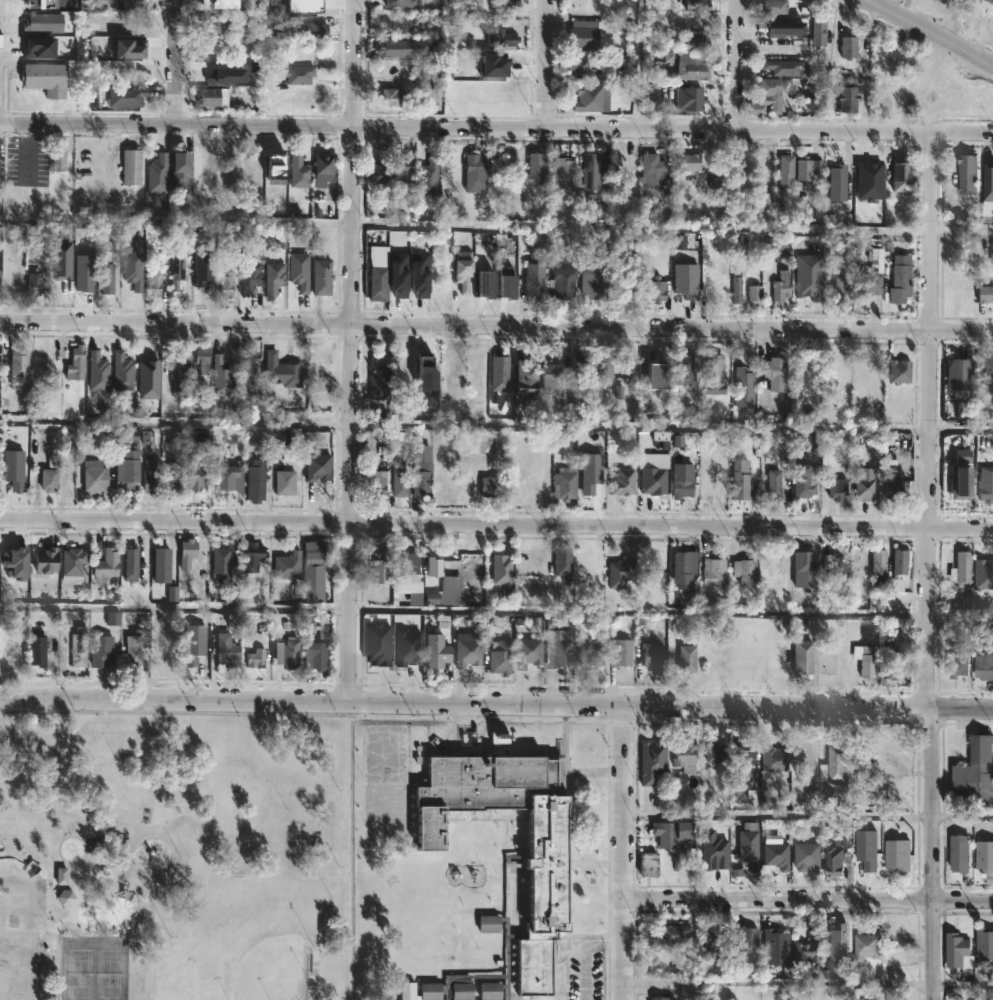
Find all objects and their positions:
building: (401, 2)
building: (48, 3)
building: (222, 3)
building: (132, 4)
building: (503, 4)
building: (699, 5)
building: (989, 5)
building: (308, 6)
building: (772, 7)
building: (47, 20)
building: (221, 24)
building: (785, 29)
road: (932, 30)
building: (319, 31)
building: (817, 33)
building: (586, 34)
building: (502, 38)
building: (697, 44)
building: (43, 45)
building: (848, 46)
building: (134, 48)
building: (398, 48)
building: (219, 53)
road: (178, 62)
building: (497, 63)
building: (585, 63)
road: (544, 64)
road: (737, 65)
building: (695, 66)
building: (784, 67)
building: (299, 74)
building: (438, 74)
building: (213, 77)
building: (44, 78)
building: (774, 91)
building: (129, 96)
building: (213, 96)
building: (394, 96)
building: (591, 98)
building: (694, 98)
building: (847, 98)
road: (496, 128)
building: (61, 160)
building: (690, 162)
building: (281, 164)
building: (625, 164)
building: (1, 166)
building: (134, 166)
building: (801, 167)
building: (405, 168)
building: (537, 168)
building: (183, 170)
building: (324, 170)
building: (593, 170)
building: (657, 170)
building: (301, 171)
building: (566, 171)
building: (784, 171)
building: (159, 172)
building: (478, 173)
building: (965, 173)
building: (381, 174)
building: (899, 174)
building: (868, 177)
building: (428, 179)
building: (835, 182)
building: (987, 188)
building: (382, 239)
building: (64, 257)
building: (2, 266)
building: (178, 267)
building: (135, 268)
building: (205, 268)
building: (300, 269)
building: (466, 269)
building: (87, 271)
building: (402, 274)
building: (424, 274)
building: (869, 274)
building: (324, 276)
building: (807, 276)
building: (253, 277)
building: (109, 278)
building: (277, 278)
building: (687, 278)
building: (898, 278)
building: (157, 280)
building: (534, 280)
building: (228, 282)
building: (565, 282)
building: (596, 283)
building: (37, 284)
building: (381, 284)
building: (489, 284)
building: (510, 285)
building: (735, 285)
building: (781, 288)
building: (659, 289)
building: (841, 291)
building: (984, 294)
building: (755, 295)
road: (496, 326)
road: (352, 351)
building: (199, 361)
building: (77, 362)
building: (175, 362)
building: (605, 365)
building: (19, 367)
building: (682, 368)
building: (984, 368)
building: (282, 369)
building: (580, 369)
building: (800, 370)
building: (898, 371)
building: (125, 372)
building: (427, 372)
building: (498, 372)
building: (101, 373)
building: (776, 373)
building: (957, 373)
building: (712, 374)
building: (221, 375)
building: (530, 377)
building: (554, 378)
building: (152, 379)
building: (378, 379)
building: (746, 384)
road: (176, 420)
building: (316, 438)
building: (812, 439)
building: (281, 443)
building: (470, 445)
building: (92, 459)
building: (318, 466)
building: (137, 469)
building: (593, 470)
building: (16, 473)
building: (195, 473)
building: (963, 473)
building: (171, 476)
building: (228, 476)
building: (49, 478)
building: (421, 478)
building: (738, 479)
building: (257, 480)
building: (680, 480)
building: (808, 481)
building: (282, 482)
building: (402, 482)
building: (625, 482)
building: (655, 482)
building: (379, 484)
building: (567, 484)
building: (867, 484)
building: (985, 484)
building: (773, 485)
building: (494, 487)
road: (110, 488)
building: (840, 488)
building: (710, 489)
building: (896, 489)
road: (122, 494)
road: (110, 512)
road: (123, 513)
road: (496, 525)
building: (253, 555)
building: (1, 558)
building: (590, 559)
building: (856, 559)
building: (19, 560)
building: (48, 561)
building: (876, 561)
building: (76, 562)
building: (164, 562)
building: (110, 563)
building: (223, 563)
building: (561, 563)
building: (133, 564)
building: (981, 564)
building: (290, 565)
building: (833, 565)
building: (683, 566)
road: (929, 566)
building: (436, 567)
building: (897, 568)
building: (960, 568)
building: (504, 570)
building: (801, 570)
building: (316, 571)
building: (747, 571)
building: (401, 572)
building: (622, 572)
building: (716, 572)
building: (453, 591)
building: (380, 643)
building: (560, 644)
building: (195, 645)
building: (81, 646)
building: (410, 646)
building: (317, 647)
building: (136, 649)
building: (40, 650)
building: (104, 650)
building: (229, 650)
building: (439, 651)
building: (288, 652)
building: (531, 652)
building: (470, 653)
building: (623, 653)
building: (21, 654)
building: (165, 656)
building: (592, 656)
building: (655, 656)
building: (801, 656)
building: (257, 657)
building: (690, 659)
building: (983, 659)
building: (503, 660)
building: (866, 660)
building: (887, 660)
building: (955, 662)
building: (417, 663)
road: (496, 703)
building: (719, 750)
building: (746, 752)
building: (688, 755)
building: (774, 757)
building: (655, 760)
building: (833, 763)
building: (974, 770)
building: (673, 833)
building: (750, 841)
building: (868, 847)
building: (715, 849)
road: (621, 852)
building: (836, 852)
building: (960, 852)
building: (777, 854)
building: (805, 855)
building: (985, 855)
building: (899, 856)
park: (177, 858)
building: (651, 863)
building: (546, 890)
road: (78, 896)
road: (89, 900)
road: (807, 900)
water park: (113, 910)
road: (28, 927)
building: (717, 934)
parking lot: (22, 935)
building: (676, 935)
building: (752, 936)
building: (984, 942)
building: (865, 944)
building: (831, 945)
building: (776, 946)
building: (806, 948)
building: (956, 948)
road: (585, 953)
road: (56, 965)
park: (96, 969)
park: (274, 969)
building: (664, 998)

